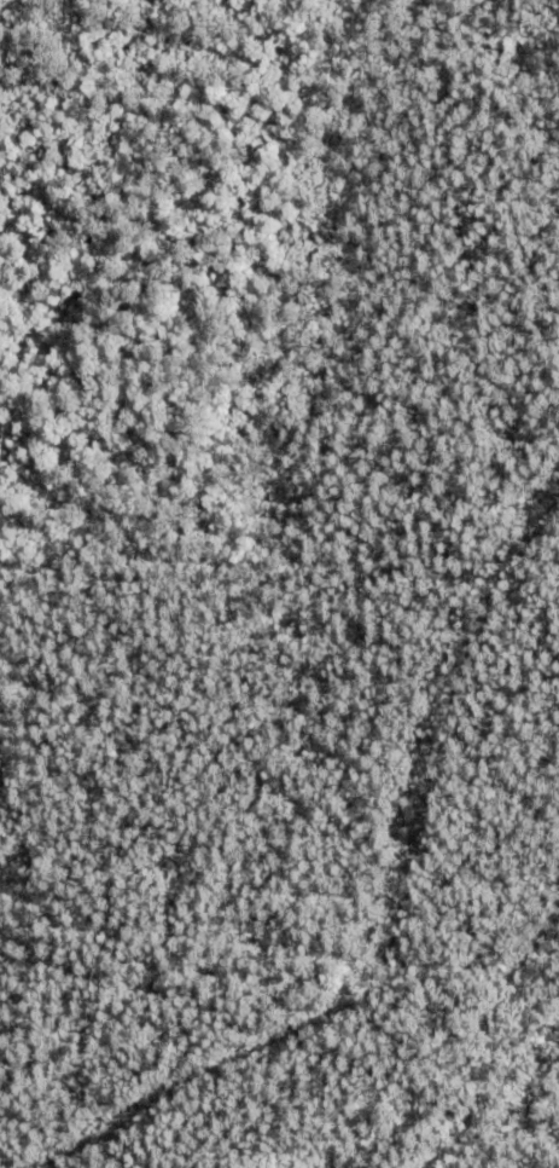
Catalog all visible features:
road: (378, 873)

